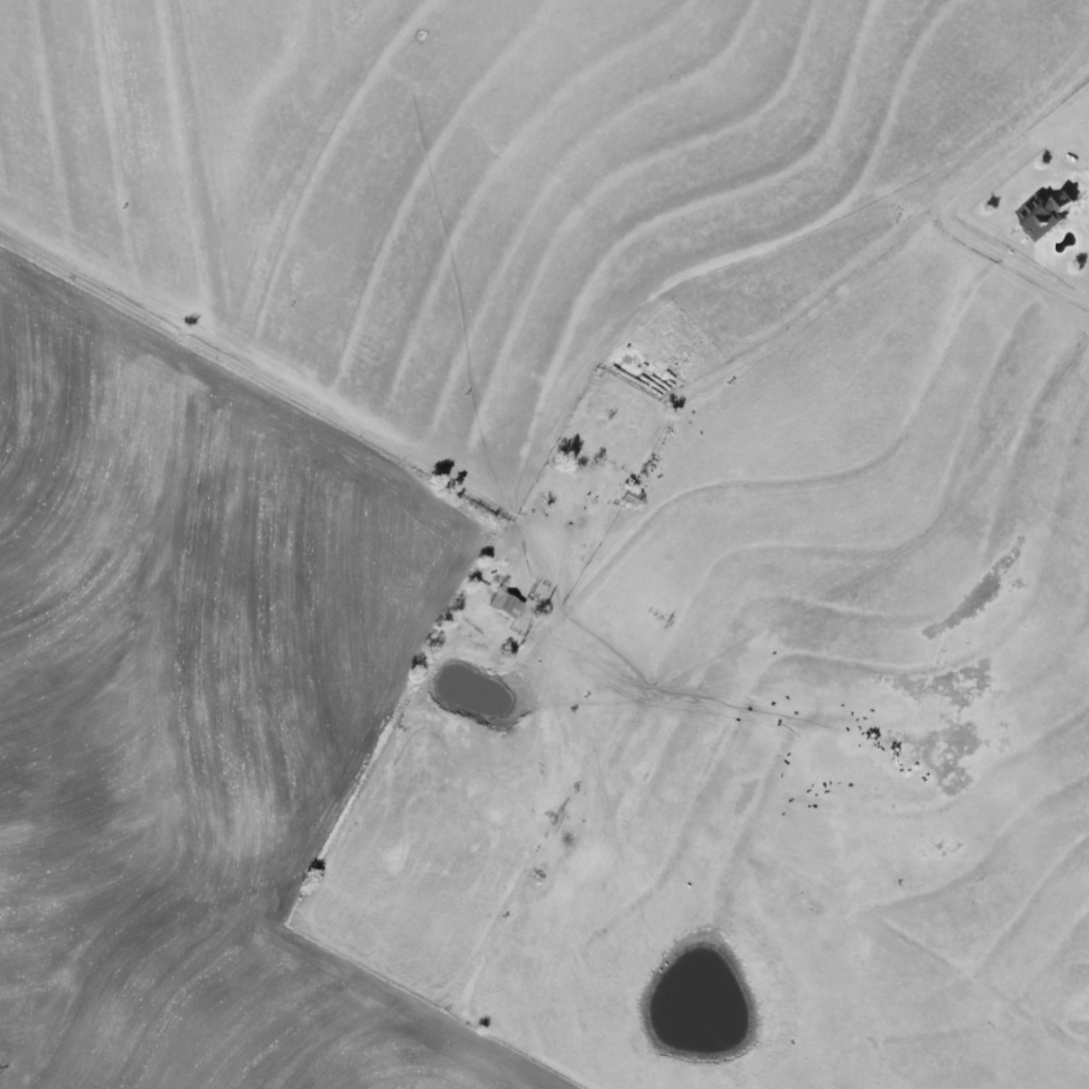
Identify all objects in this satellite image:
building: (1041, 212)
road: (883, 255)
building: (507, 604)

